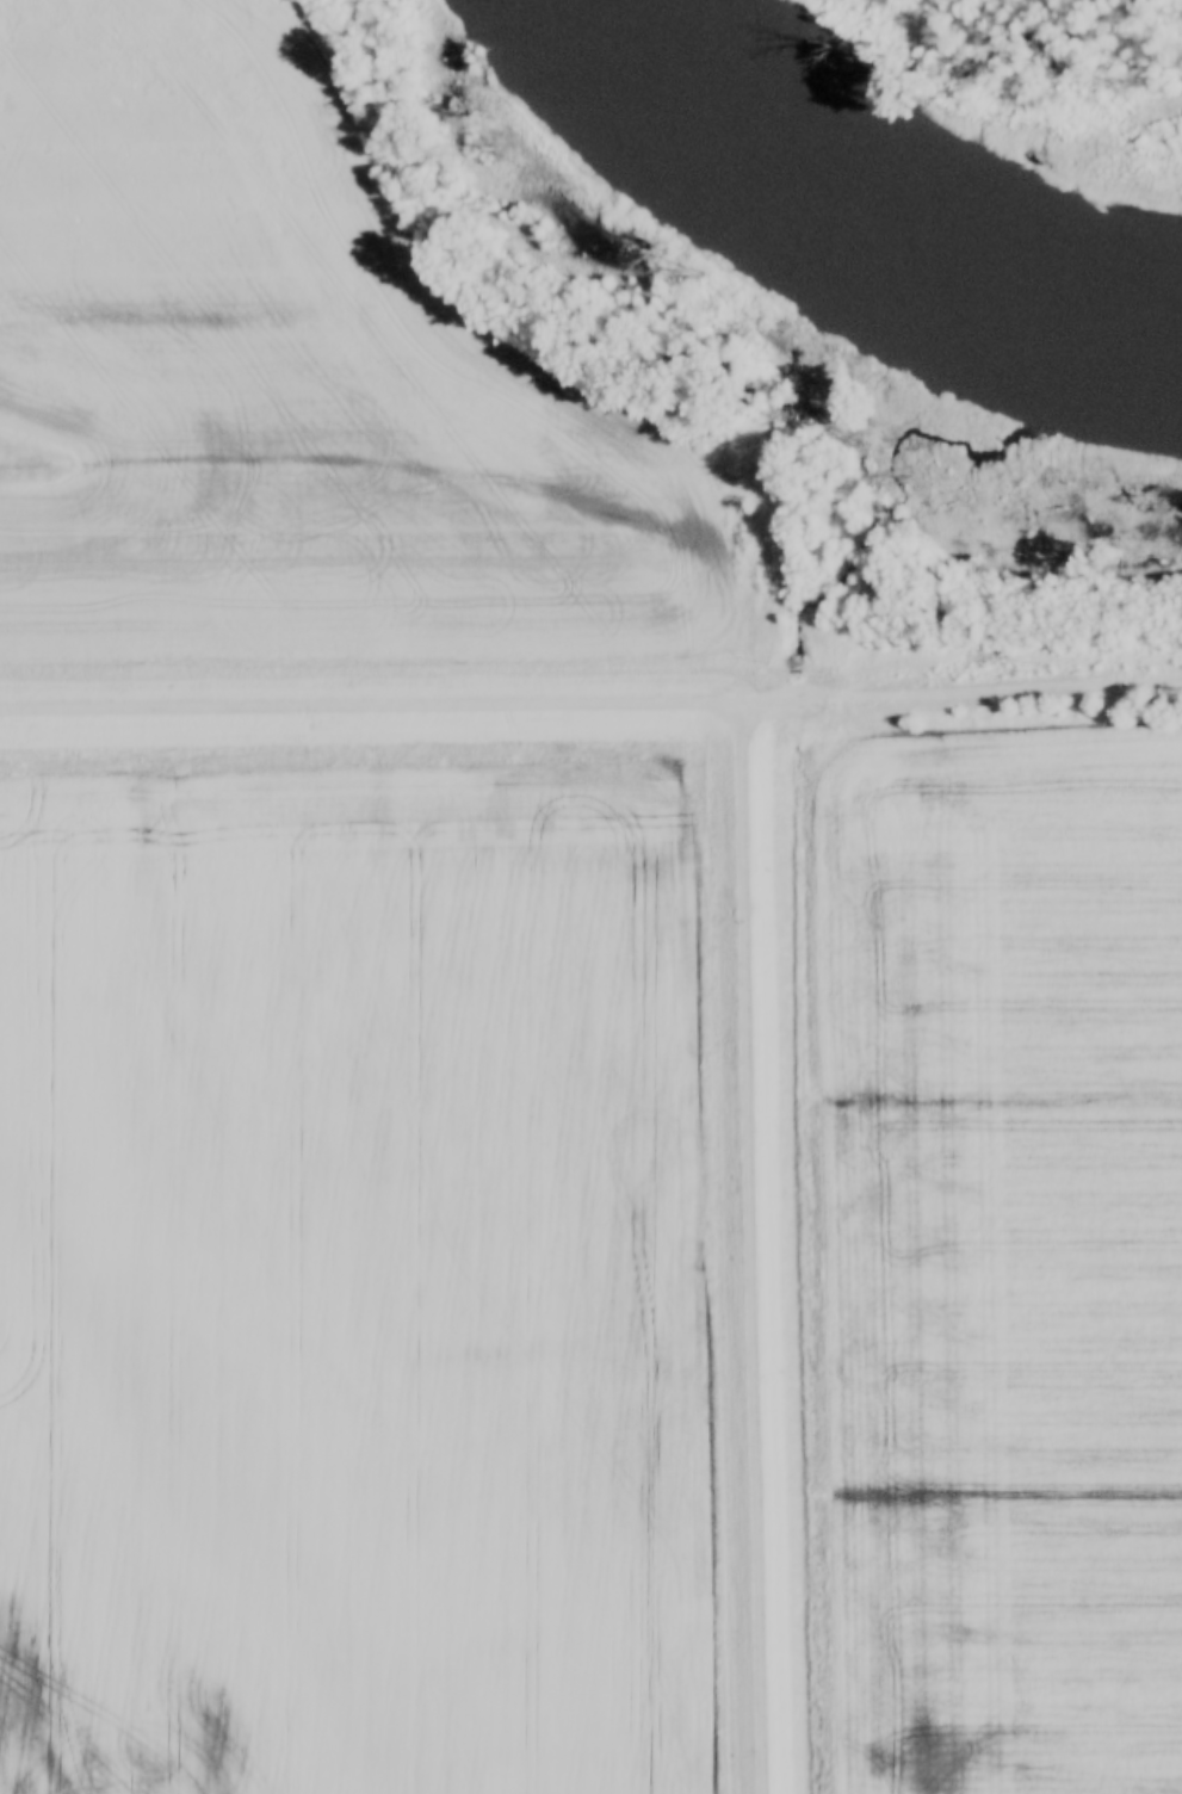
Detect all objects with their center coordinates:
river: (881, 194)
road: (592, 740)

